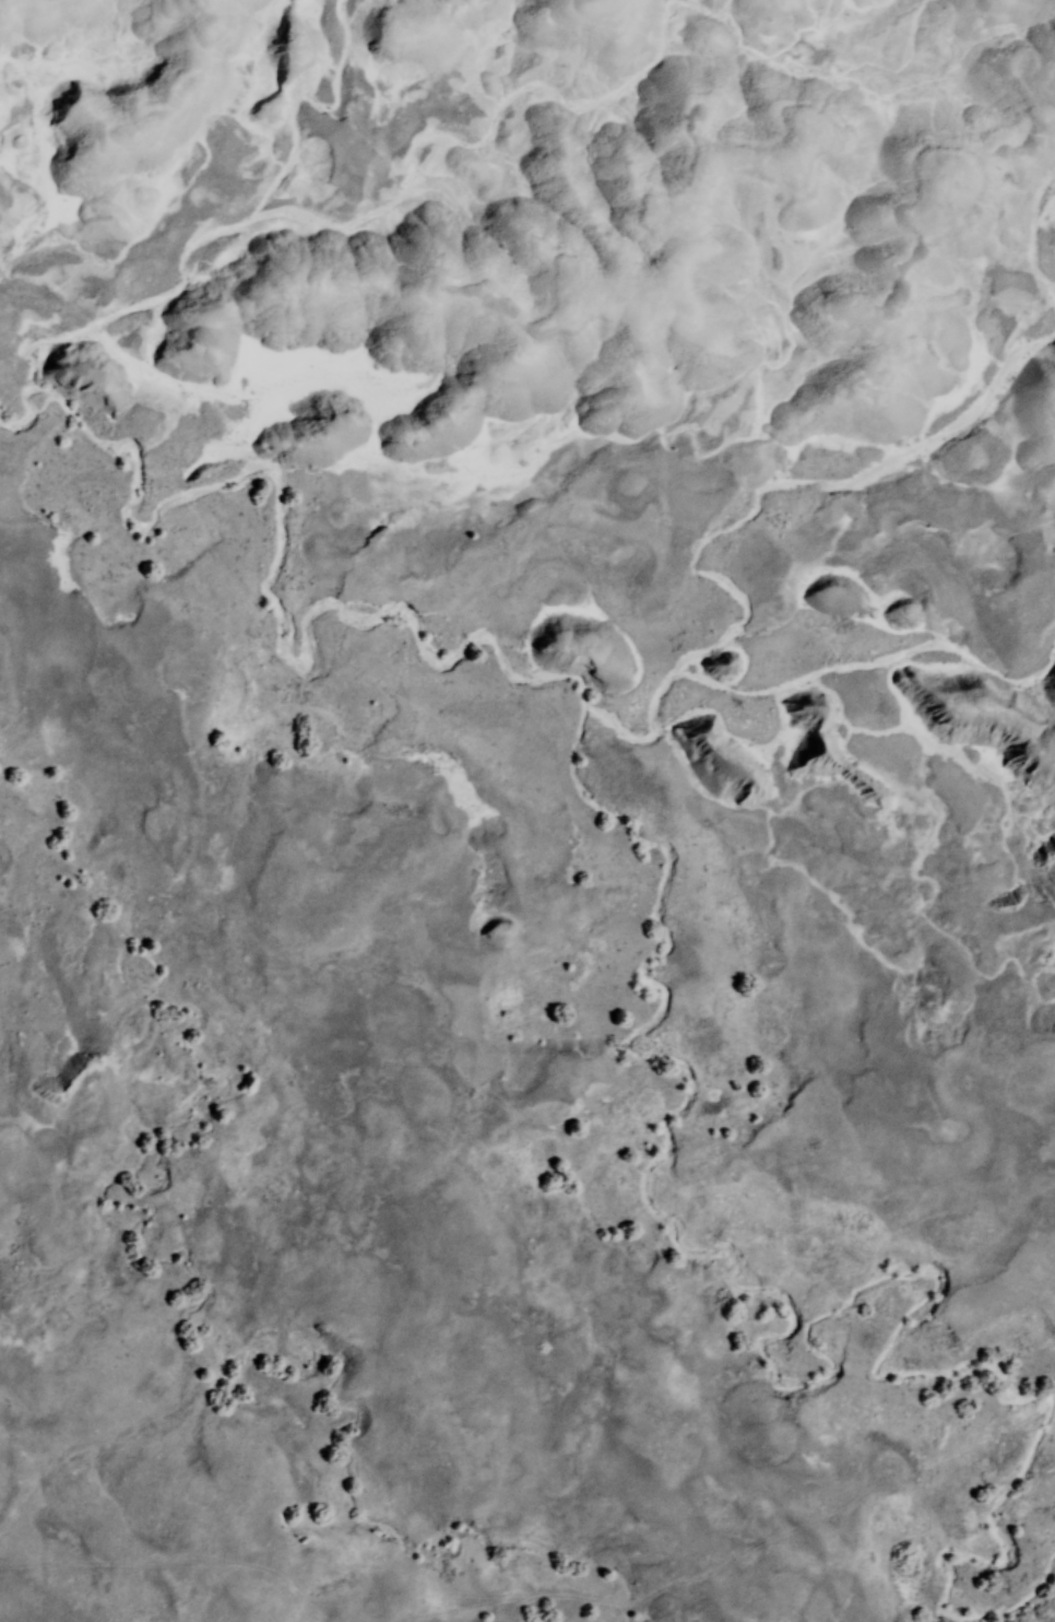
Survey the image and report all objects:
road: (190, 1565)

